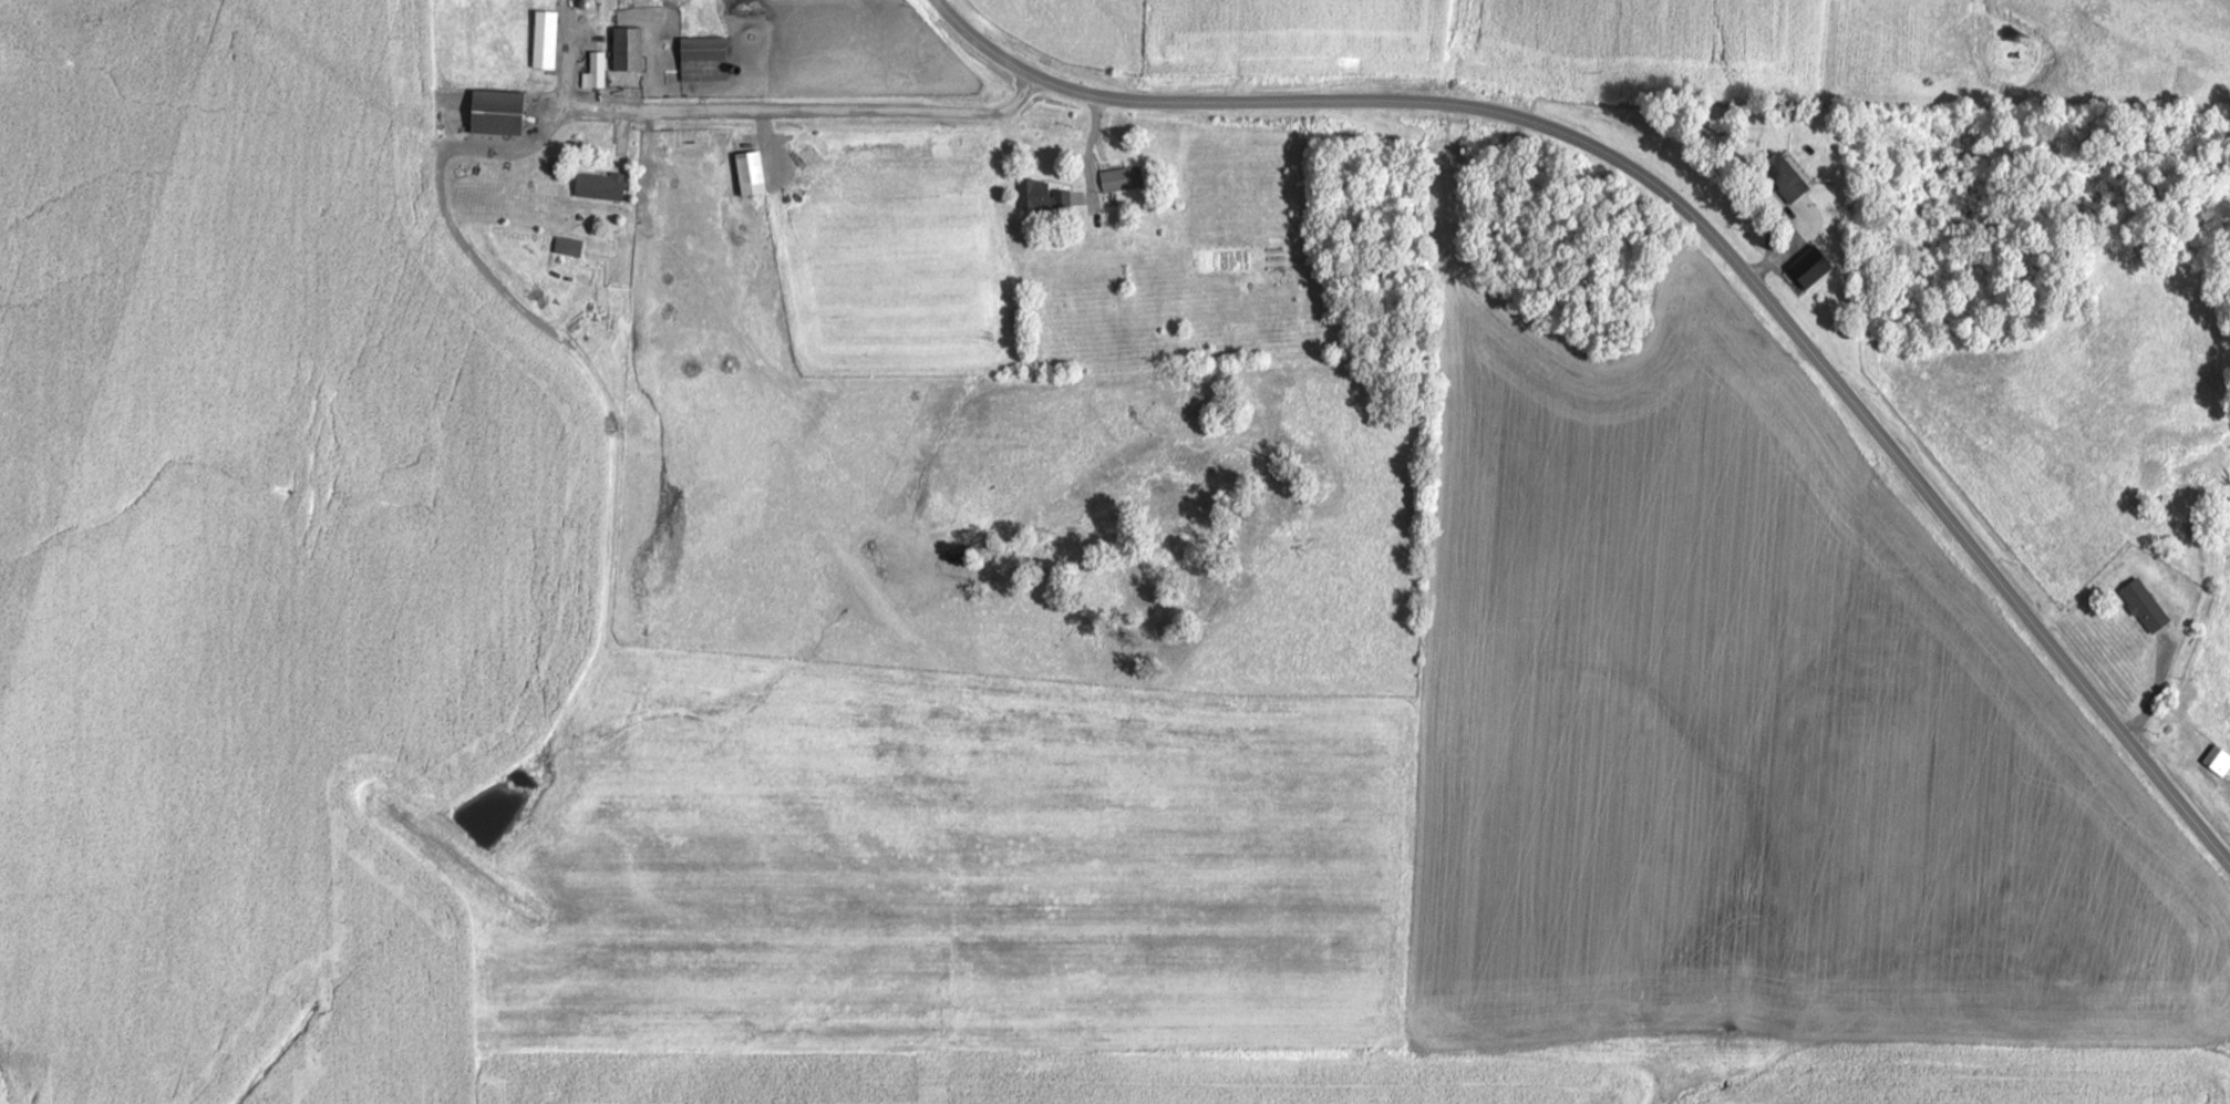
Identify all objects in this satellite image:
building: (544, 39)
building: (627, 48)
building: (702, 59)
building: (595, 71)
building: (496, 112)
road: (853, 116)
building: (749, 173)
building: (1783, 176)
building: (1121, 178)
building: (598, 185)
building: (1040, 195)
road: (1701, 219)
building: (567, 246)
building: (2193, 481)
building: (2143, 605)
building: (2217, 760)

